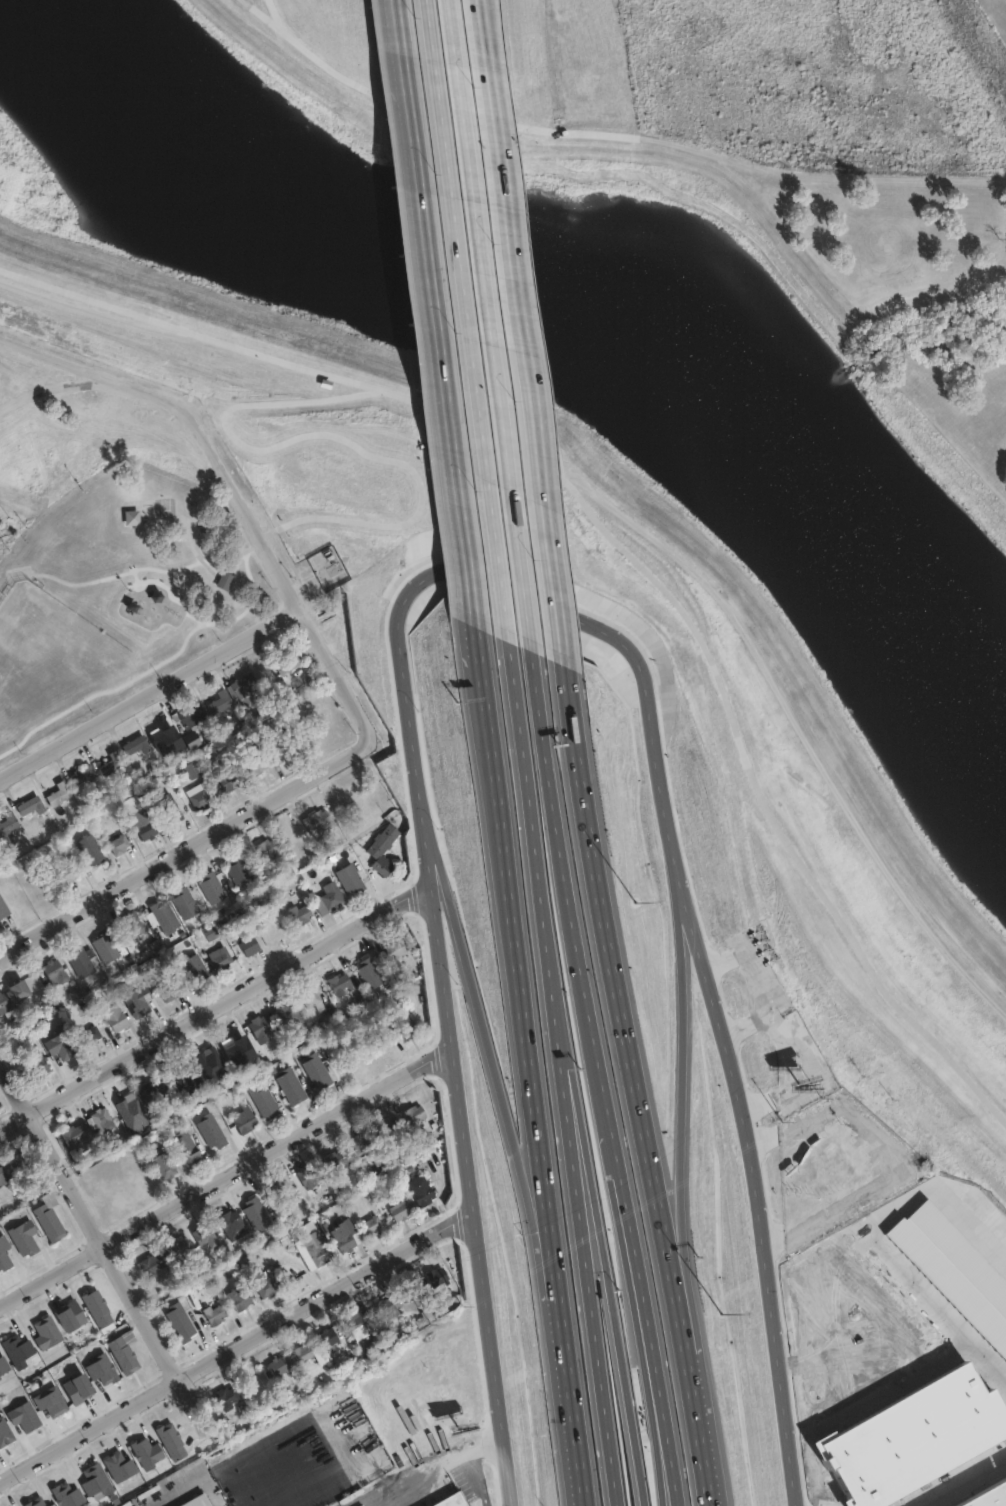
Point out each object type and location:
road: (512, 192)
road: (430, 242)
river: (557, 277)
park: (884, 298)
road: (221, 343)
road: (494, 369)
road: (469, 370)
road: (48, 390)
road: (335, 441)
road: (232, 484)
building: (131, 517)
road: (191, 549)
road: (563, 559)
building: (327, 563)
road: (475, 575)
park: (120, 577)
road: (115, 578)
building: (224, 580)
building: (375, 592)
road: (584, 620)
building: (291, 656)
road: (765, 663)
road: (150, 670)
road: (151, 693)
building: (235, 693)
road: (491, 711)
building: (189, 716)
building: (191, 740)
building: (136, 745)
road: (412, 745)
building: (278, 747)
building: (111, 763)
building: (254, 764)
building: (232, 774)
building: (83, 775)
building: (443, 780)
building: (58, 794)
building: (199, 794)
building: (171, 802)
building: (30, 806)
road: (769, 812)
building: (318, 818)
building: (150, 824)
building: (7, 826)
building: (122, 839)
road: (188, 844)
building: (93, 845)
building: (382, 847)
building: (264, 849)
building: (72, 869)
building: (238, 869)
road: (534, 869)
building: (349, 875)
building: (211, 884)
building: (331, 893)
building: (184, 900)
building: (3, 906)
building: (162, 911)
building: (299, 911)
building: (132, 922)
building: (249, 943)
building: (105, 945)
building: (396, 950)
building: (221, 957)
building: (80, 960)
building: (194, 966)
building: (55, 969)
building: (370, 974)
building: (341, 984)
building: (168, 987)
building: (20, 988)
building: (312, 996)
building: (5, 1000)
building: (142, 1003)
building: (114, 1008)
road: (210, 1010)
building: (278, 1022)
building: (405, 1025)
building: (91, 1032)
road: (535, 1047)
building: (41, 1067)
building: (317, 1067)
road: (489, 1075)
building: (292, 1082)
road: (633, 1084)
building: (153, 1090)
building: (263, 1097)
building: (246, 1116)
building: (415, 1116)
building: (101, 1120)
road: (612, 1121)
building: (212, 1128)
building: (389, 1129)
building: (72, 1133)
building: (362, 1141)
building: (187, 1144)
road: (693, 1146)
building: (335, 1157)
road: (459, 1159)
building: (18, 1161)
building: (165, 1162)
building: (310, 1173)
building: (3, 1174)
road: (222, 1180)
road: (752, 1181)
building: (284, 1189)
building: (425, 1191)
building: (402, 1207)
building: (258, 1209)
building: (231, 1216)
road: (88, 1217)
building: (52, 1220)
building: (372, 1224)
building: (205, 1230)
building: (25, 1234)
building: (347, 1234)
building: (320, 1245)
building: (182, 1247)
building: (5, 1250)
road: (603, 1251)
road: (586, 1252)
building: (152, 1262)
building: (169, 1275)
building: (437, 1277)
building: (266, 1283)
building: (412, 1290)
building: (241, 1296)
building: (100, 1309)
building: (383, 1309)
building: (214, 1312)
building: (74, 1318)
building: (425, 1318)
building: (179, 1321)
building: (357, 1323)
building: (49, 1334)
building: (329, 1338)
building: (380, 1344)
road: (231, 1349)
building: (16, 1350)
building: (303, 1353)
building: (125, 1356)
building: (281, 1365)
building: (2, 1366)
building: (101, 1369)
building: (80, 1390)
building: (228, 1398)
building: (53, 1403)
building: (27, 1418)
road: (572, 1422)
building: (4, 1432)
building: (171, 1442)
road: (666, 1449)
building: (146, 1452)
building: (118, 1465)
road: (708, 1469)
road: (213, 1473)
road: (438, 1479)
building: (95, 1482)
road: (480, 1483)
road: (969, 1485)
building: (66, 1495)
building: (990, 1497)
building: (453, 1500)
building: (35, 1502)
building: (50, 1505)

